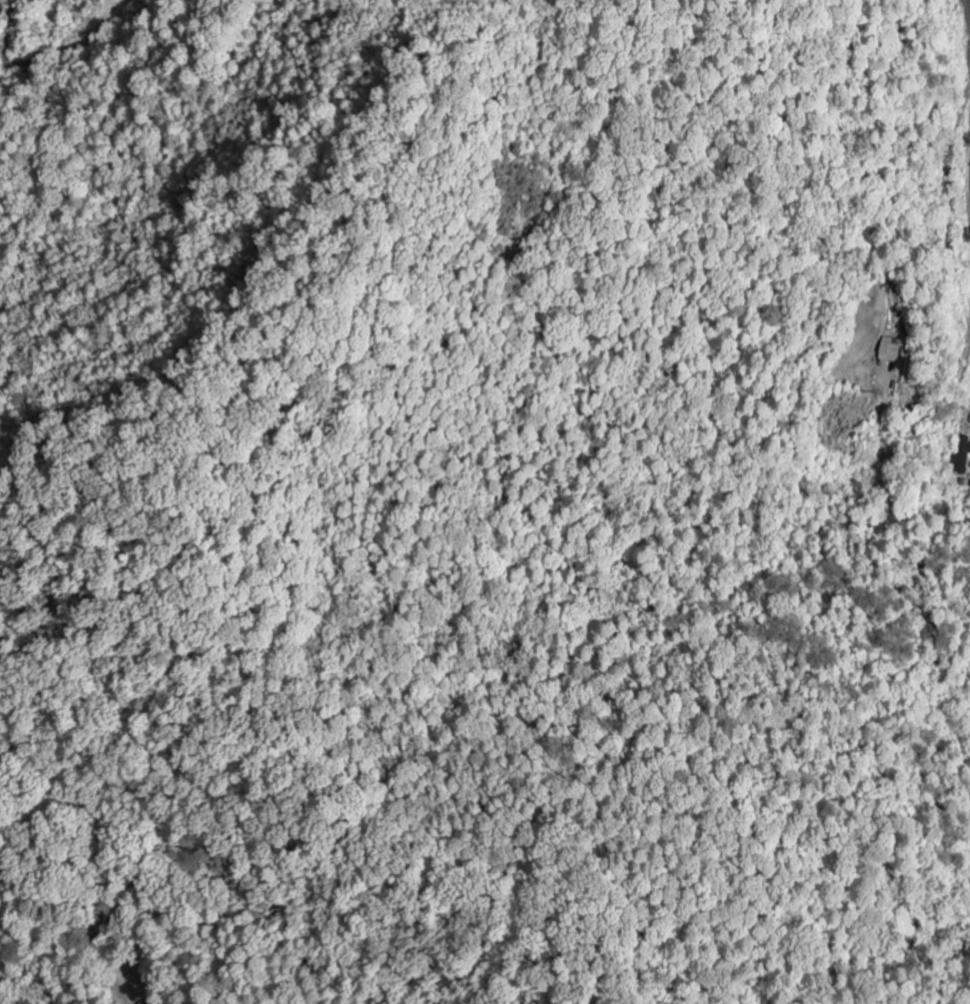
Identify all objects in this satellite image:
road: (968, 5)
building: (893, 352)
road: (940, 399)

